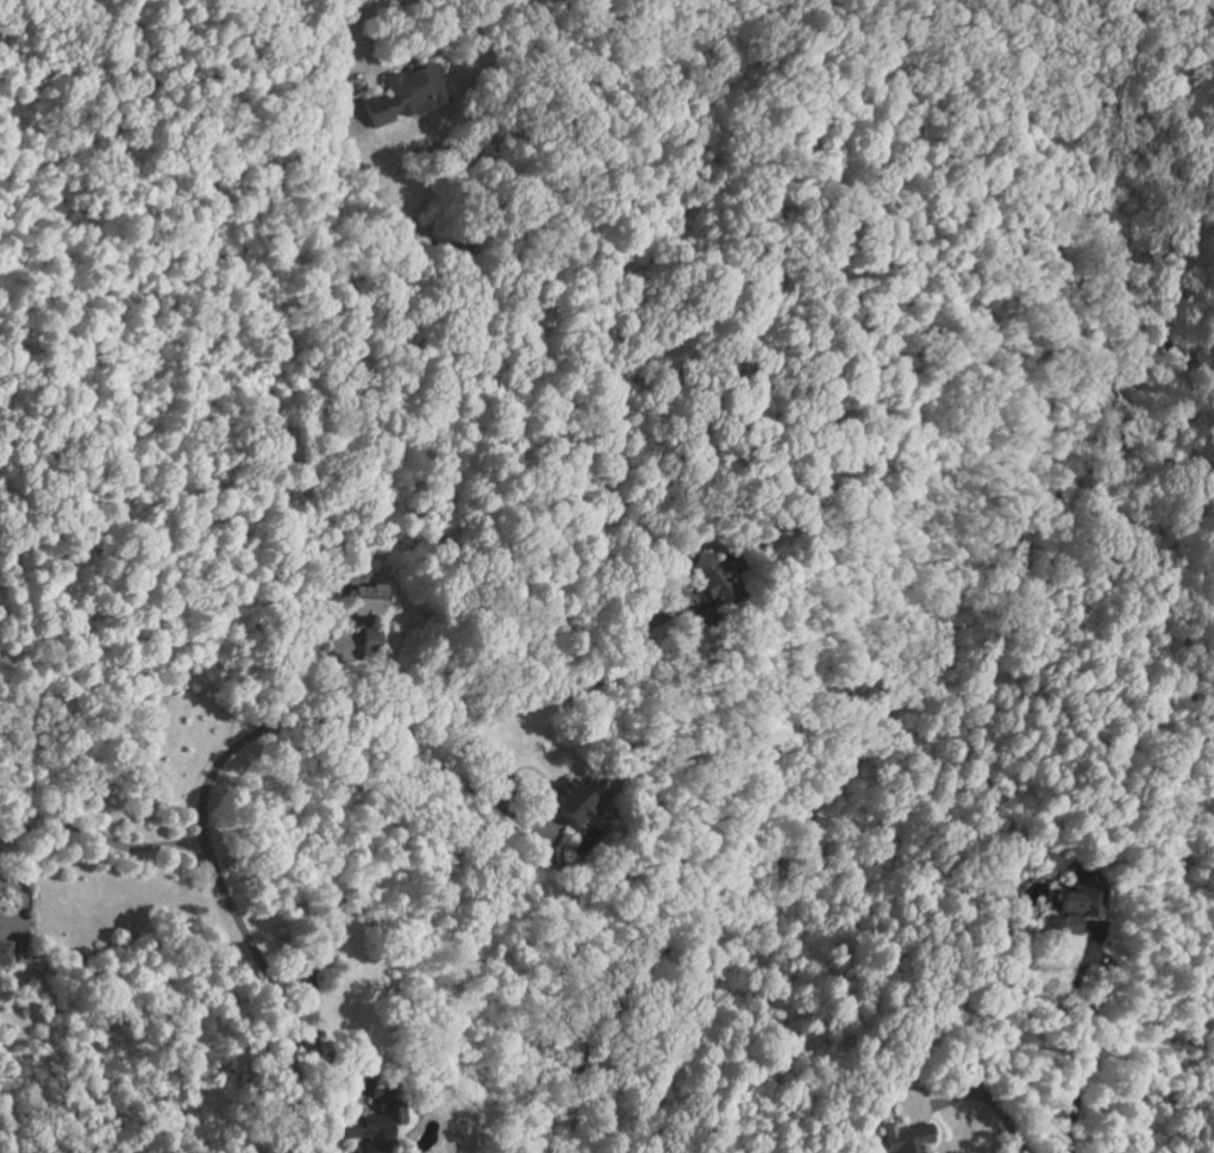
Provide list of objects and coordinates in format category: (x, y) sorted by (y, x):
road: (328, 44)
building: (405, 95)
building: (716, 576)
building: (369, 599)
building: (373, 638)
road: (432, 694)
building: (581, 798)
road: (102, 834)
building: (552, 856)
road: (217, 871)
road: (25, 903)
building: (6, 953)
road: (1078, 1067)
road: (981, 1095)
building: (918, 1140)

